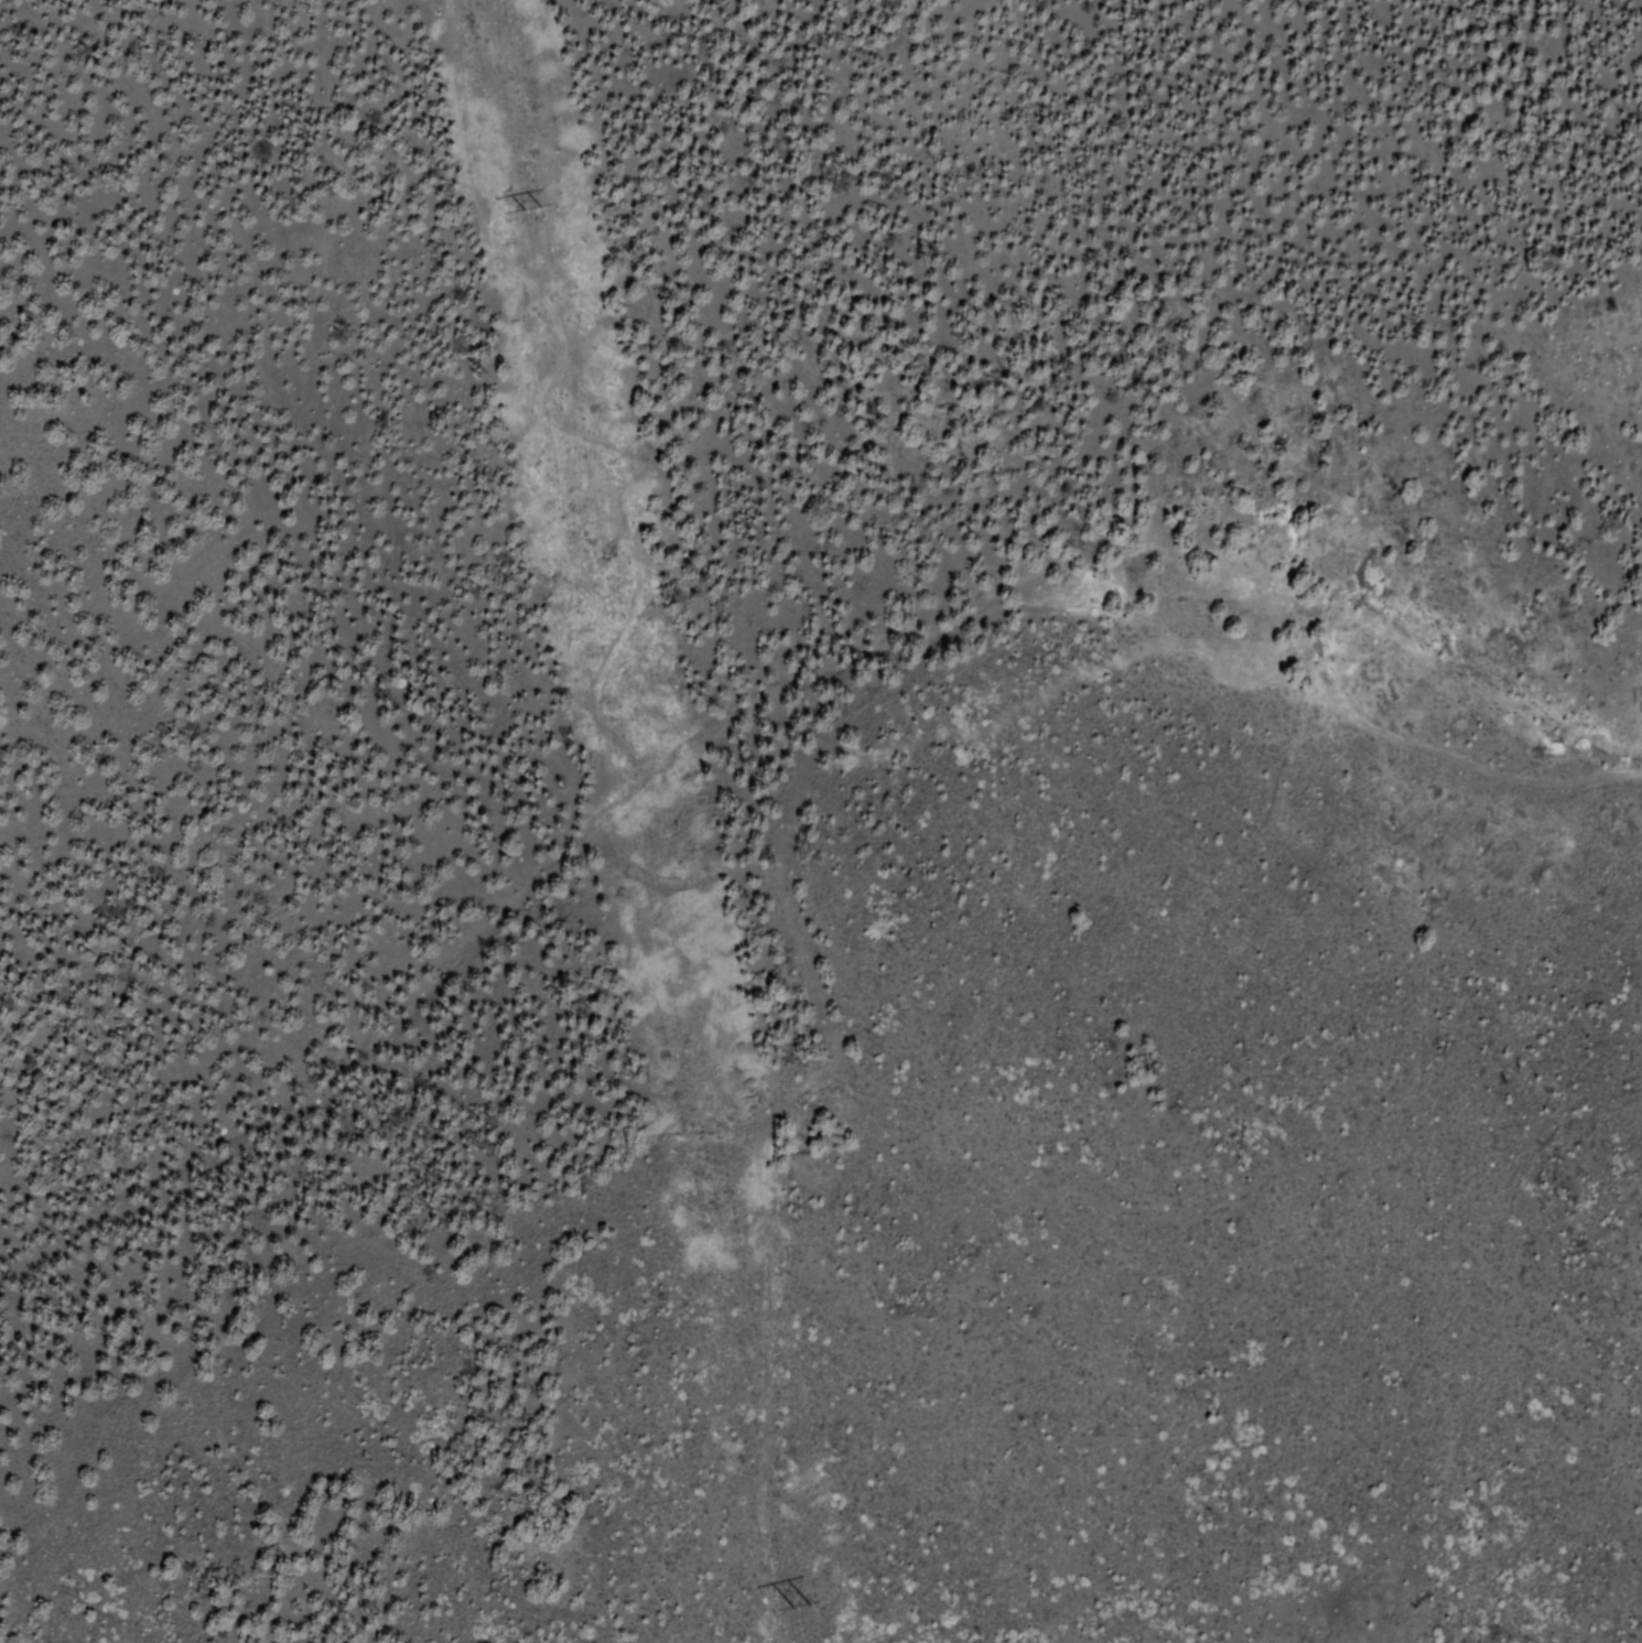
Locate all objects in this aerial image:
power tower: (527, 212)
power tower: (799, 1606)

